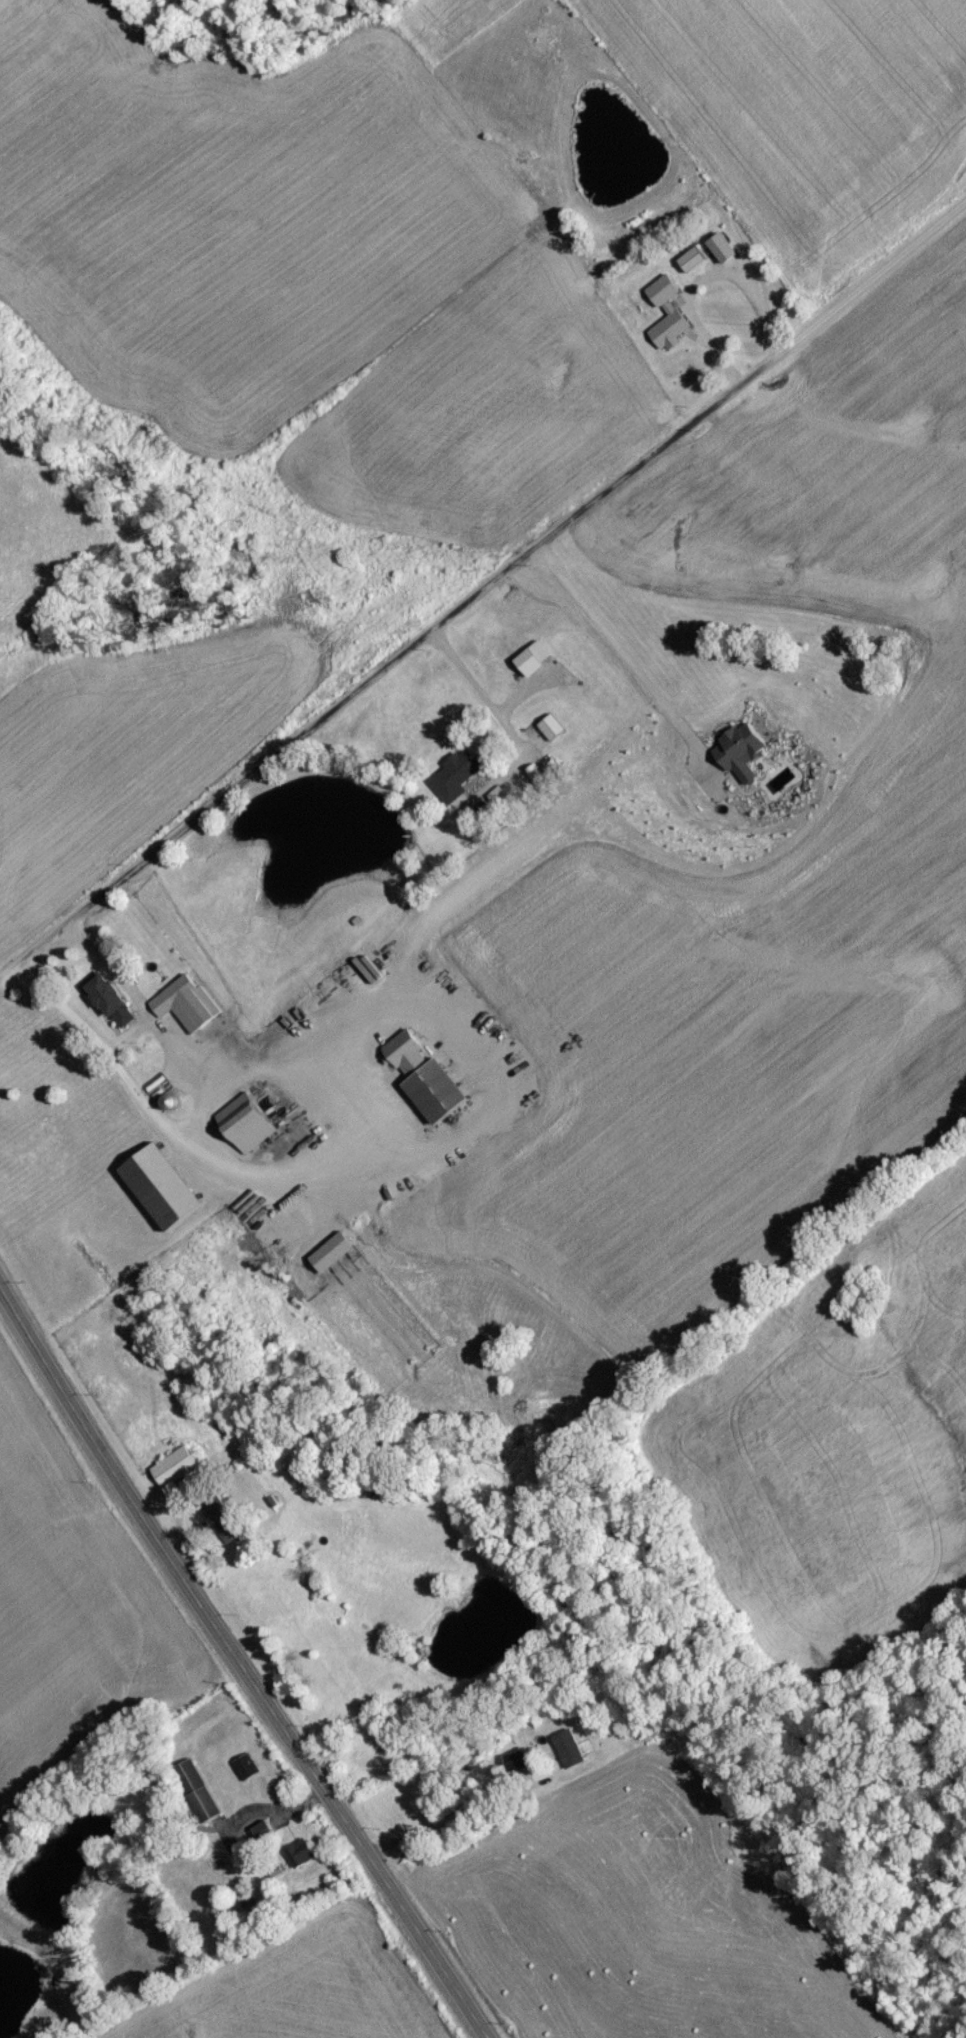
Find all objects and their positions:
building: (693, 265)
building: (679, 348)
road: (483, 588)
road: (614, 645)
building: (534, 664)
building: (553, 733)
road: (459, 817)
building: (113, 1007)
building: (187, 1008)
building: (438, 1096)
road: (193, 1123)
building: (247, 1127)
building: (163, 1192)
building: (175, 1472)
road: (238, 1668)
building: (560, 1754)
building: (516, 1767)
building: (198, 1796)
road: (440, 1823)
building: (264, 1836)
building: (300, 1858)

